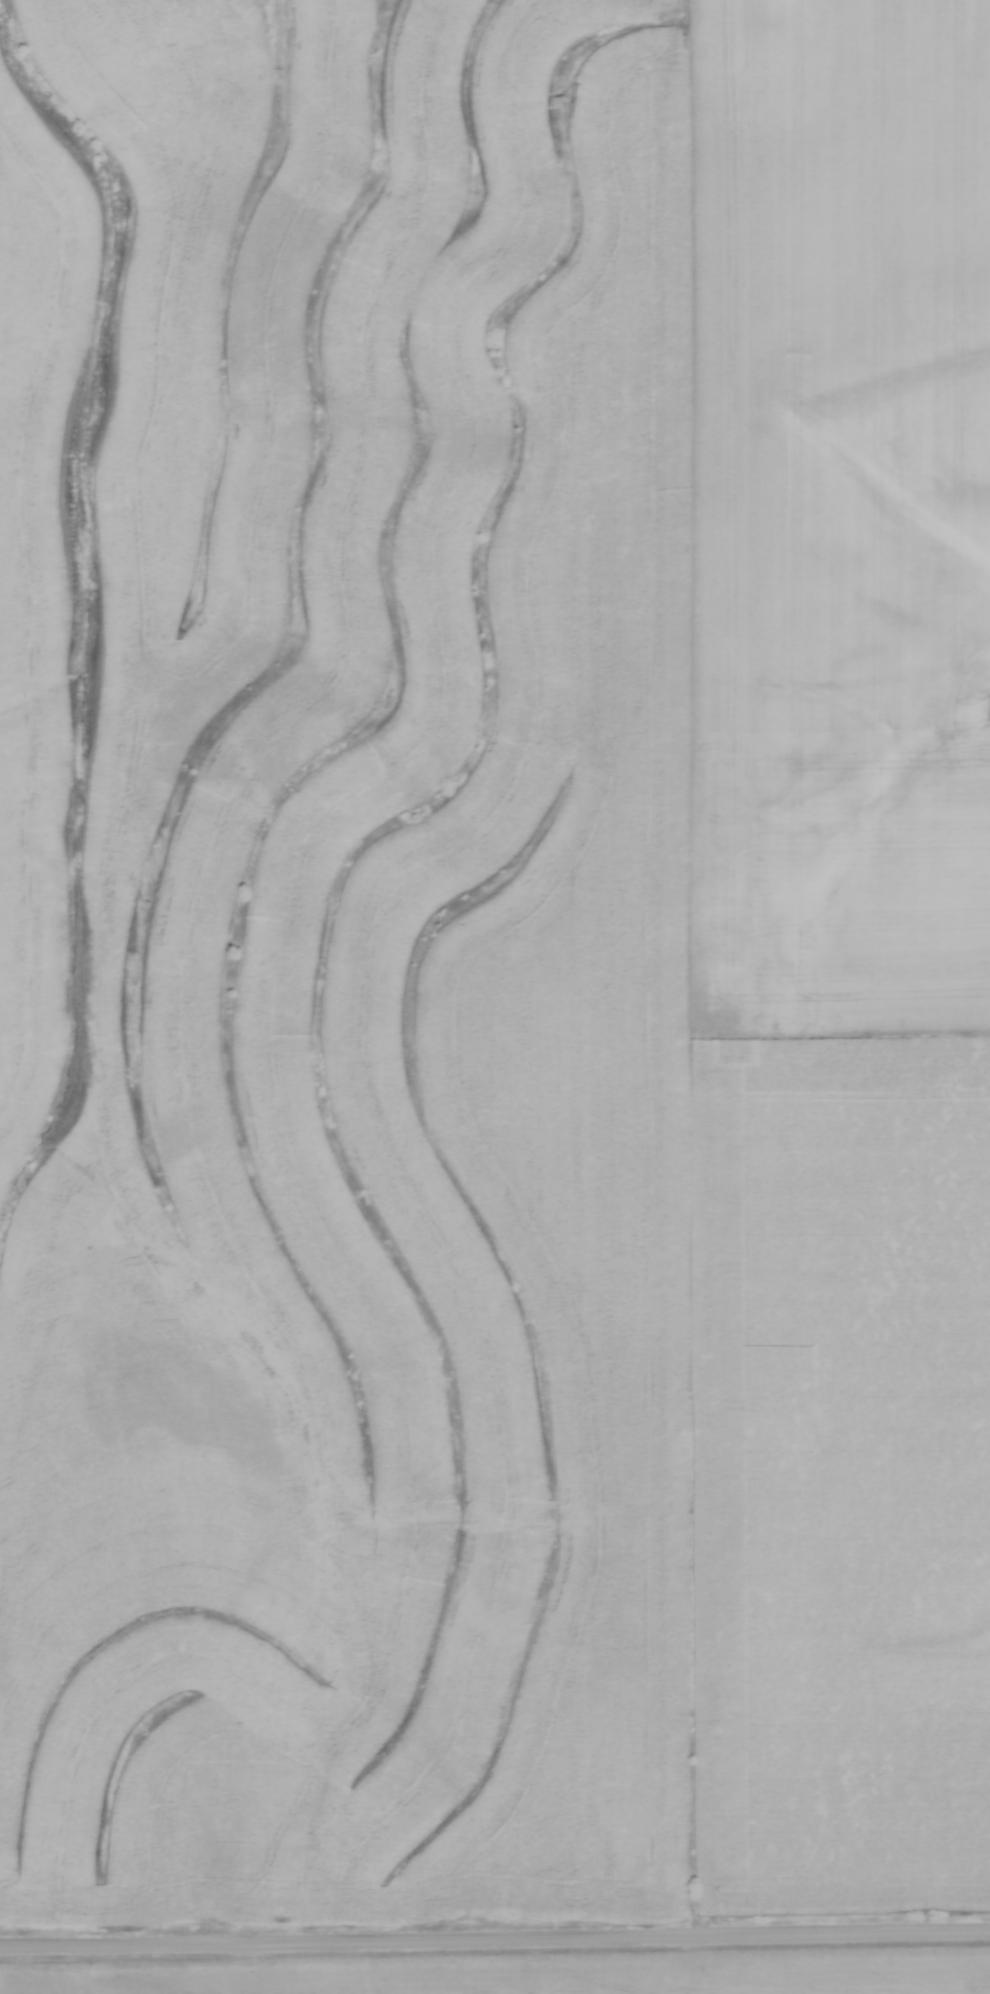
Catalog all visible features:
road: (495, 1942)

